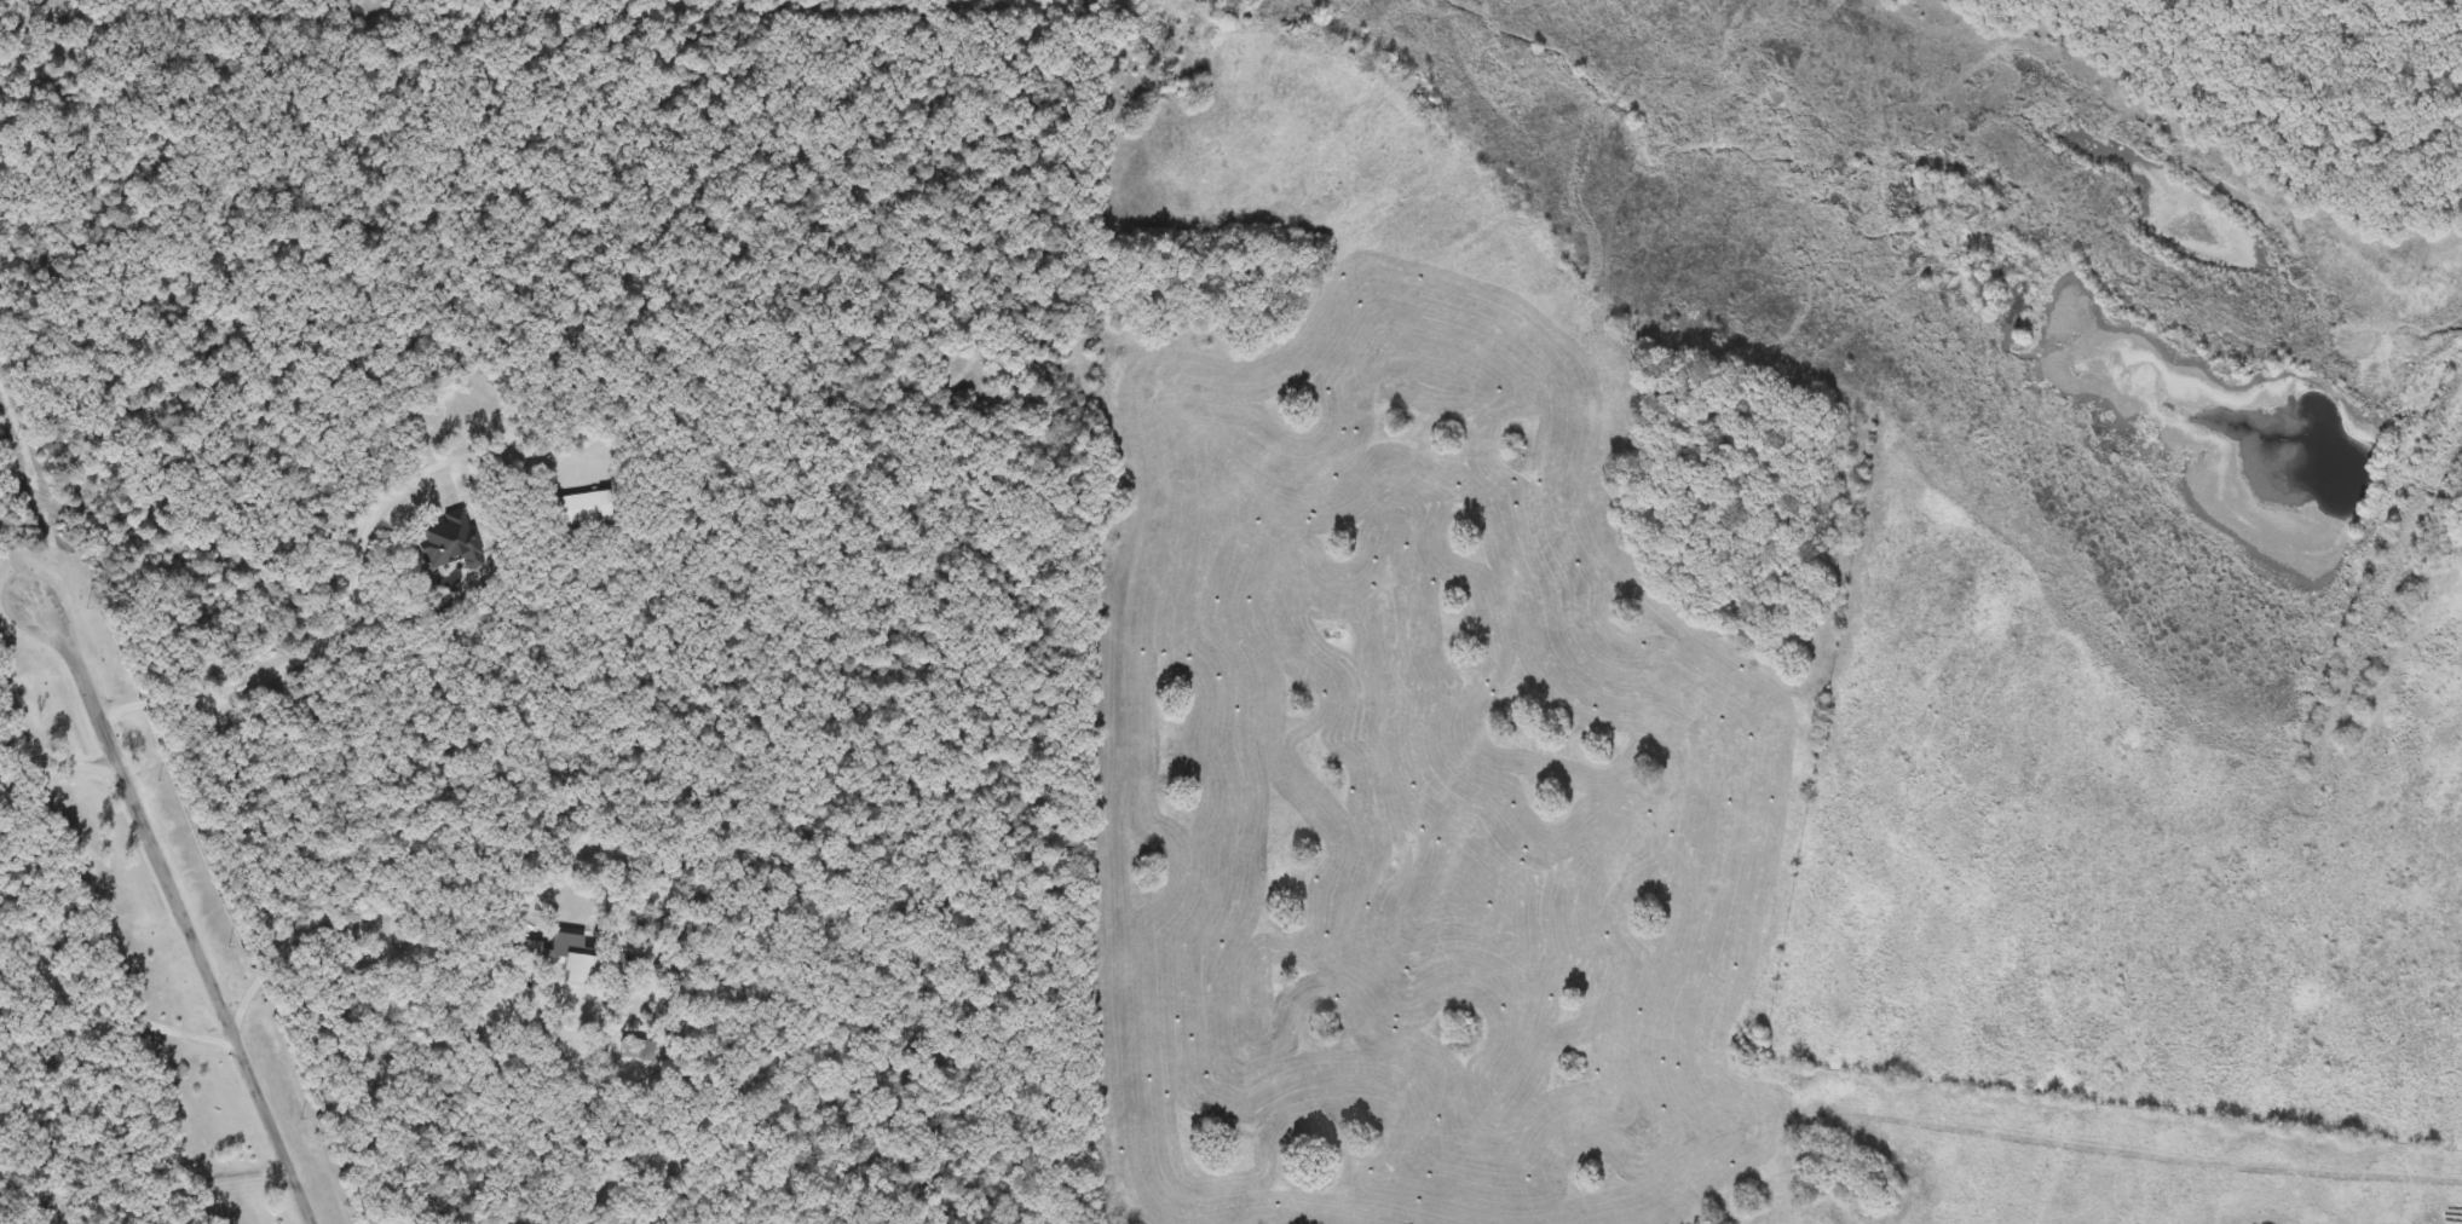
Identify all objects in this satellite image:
building: (582, 509)
building: (449, 542)
road: (22, 562)
dam: (2381, 583)
road: (353, 591)
road: (62, 761)
road: (183, 913)
road: (388, 947)
building: (582, 960)
road: (109, 1006)
building: (638, 1049)
road: (173, 1184)

